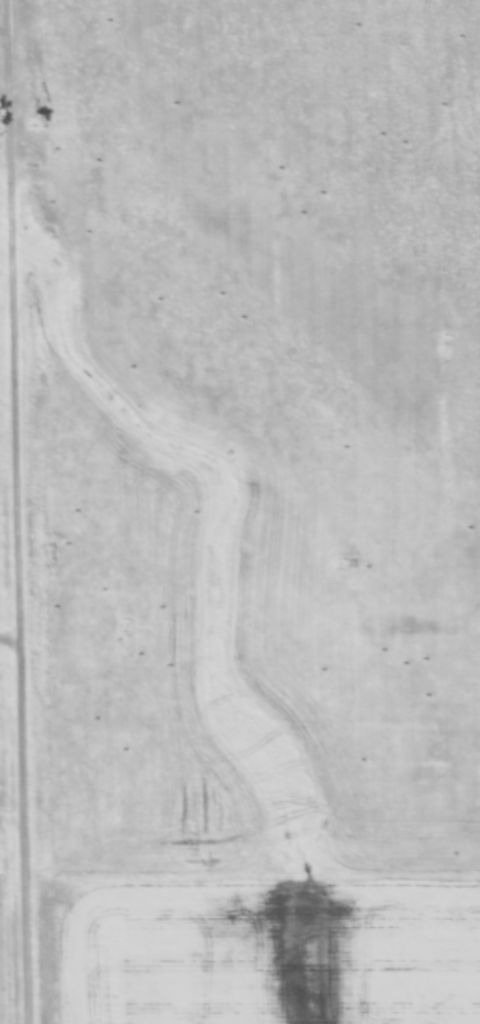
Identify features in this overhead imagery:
road: (13, 512)

